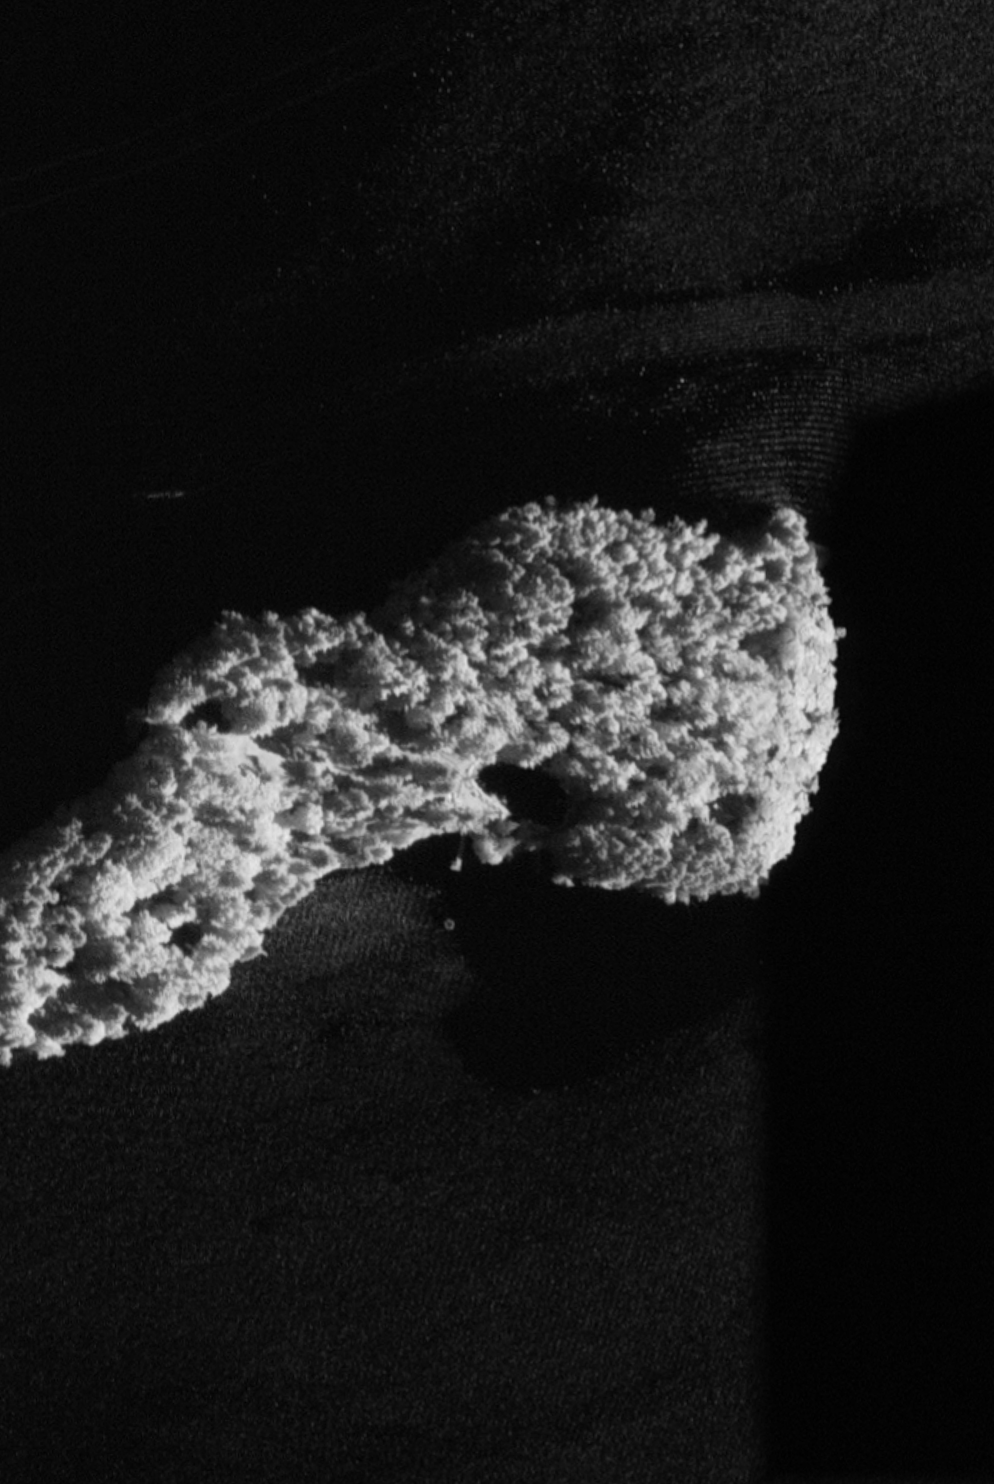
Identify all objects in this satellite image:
building: (750, 651)
building: (199, 718)
building: (538, 761)
building: (41, 873)
building: (59, 886)
building: (174, 941)
building: (56, 958)

